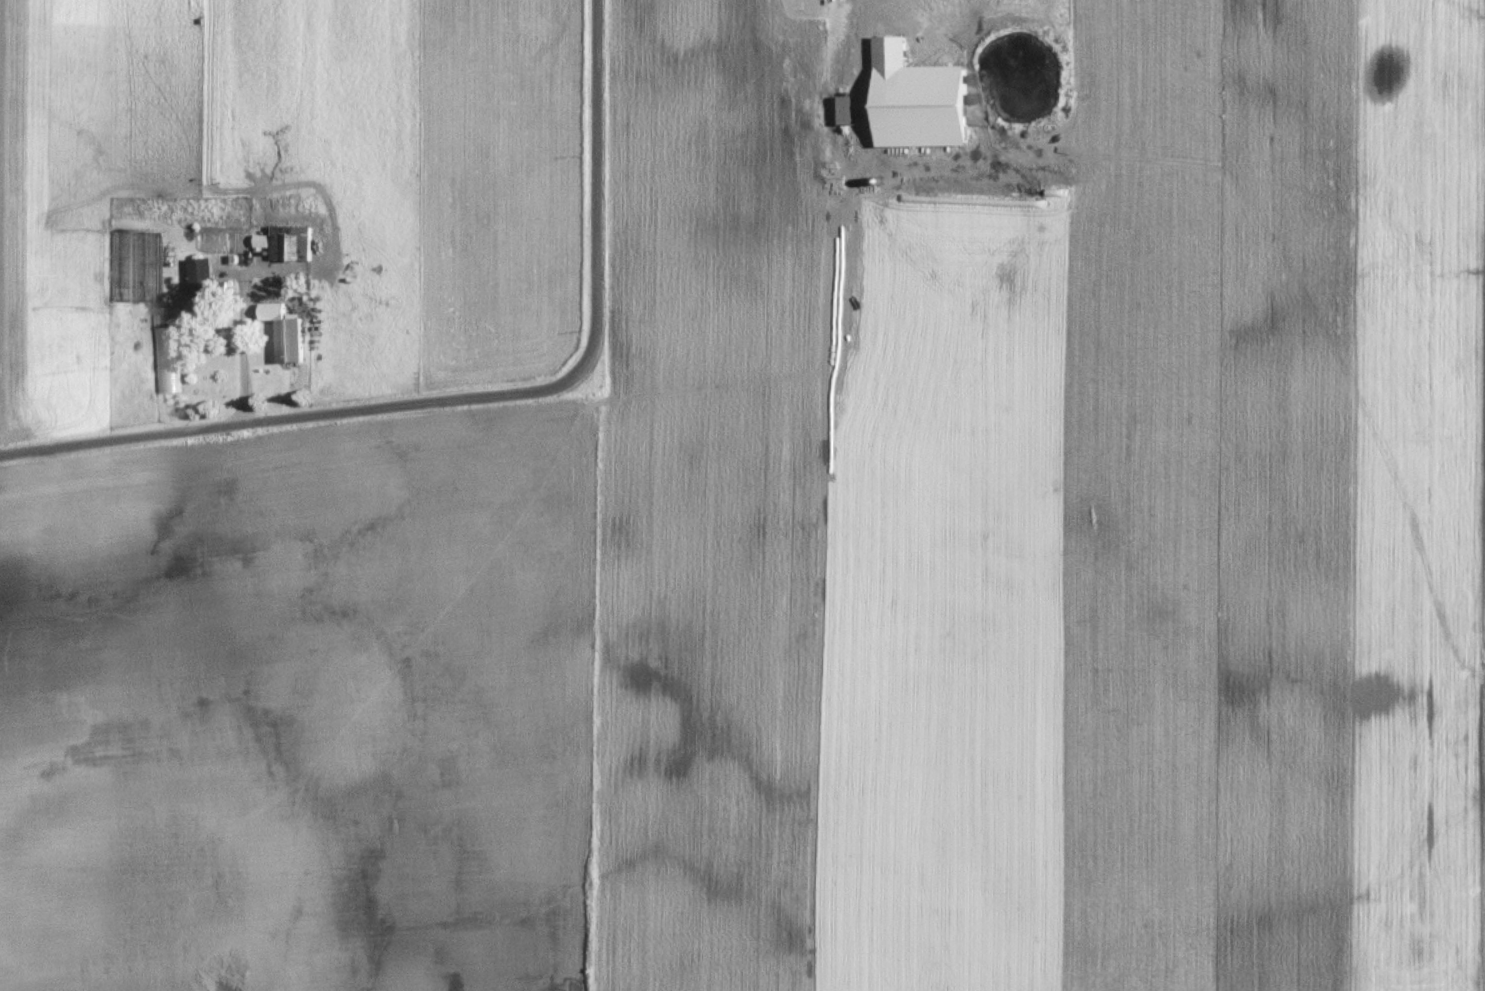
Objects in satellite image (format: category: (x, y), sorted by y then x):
building: (871, 13)
building: (286, 243)
building: (133, 269)
building: (203, 281)
building: (293, 341)
road: (477, 398)

